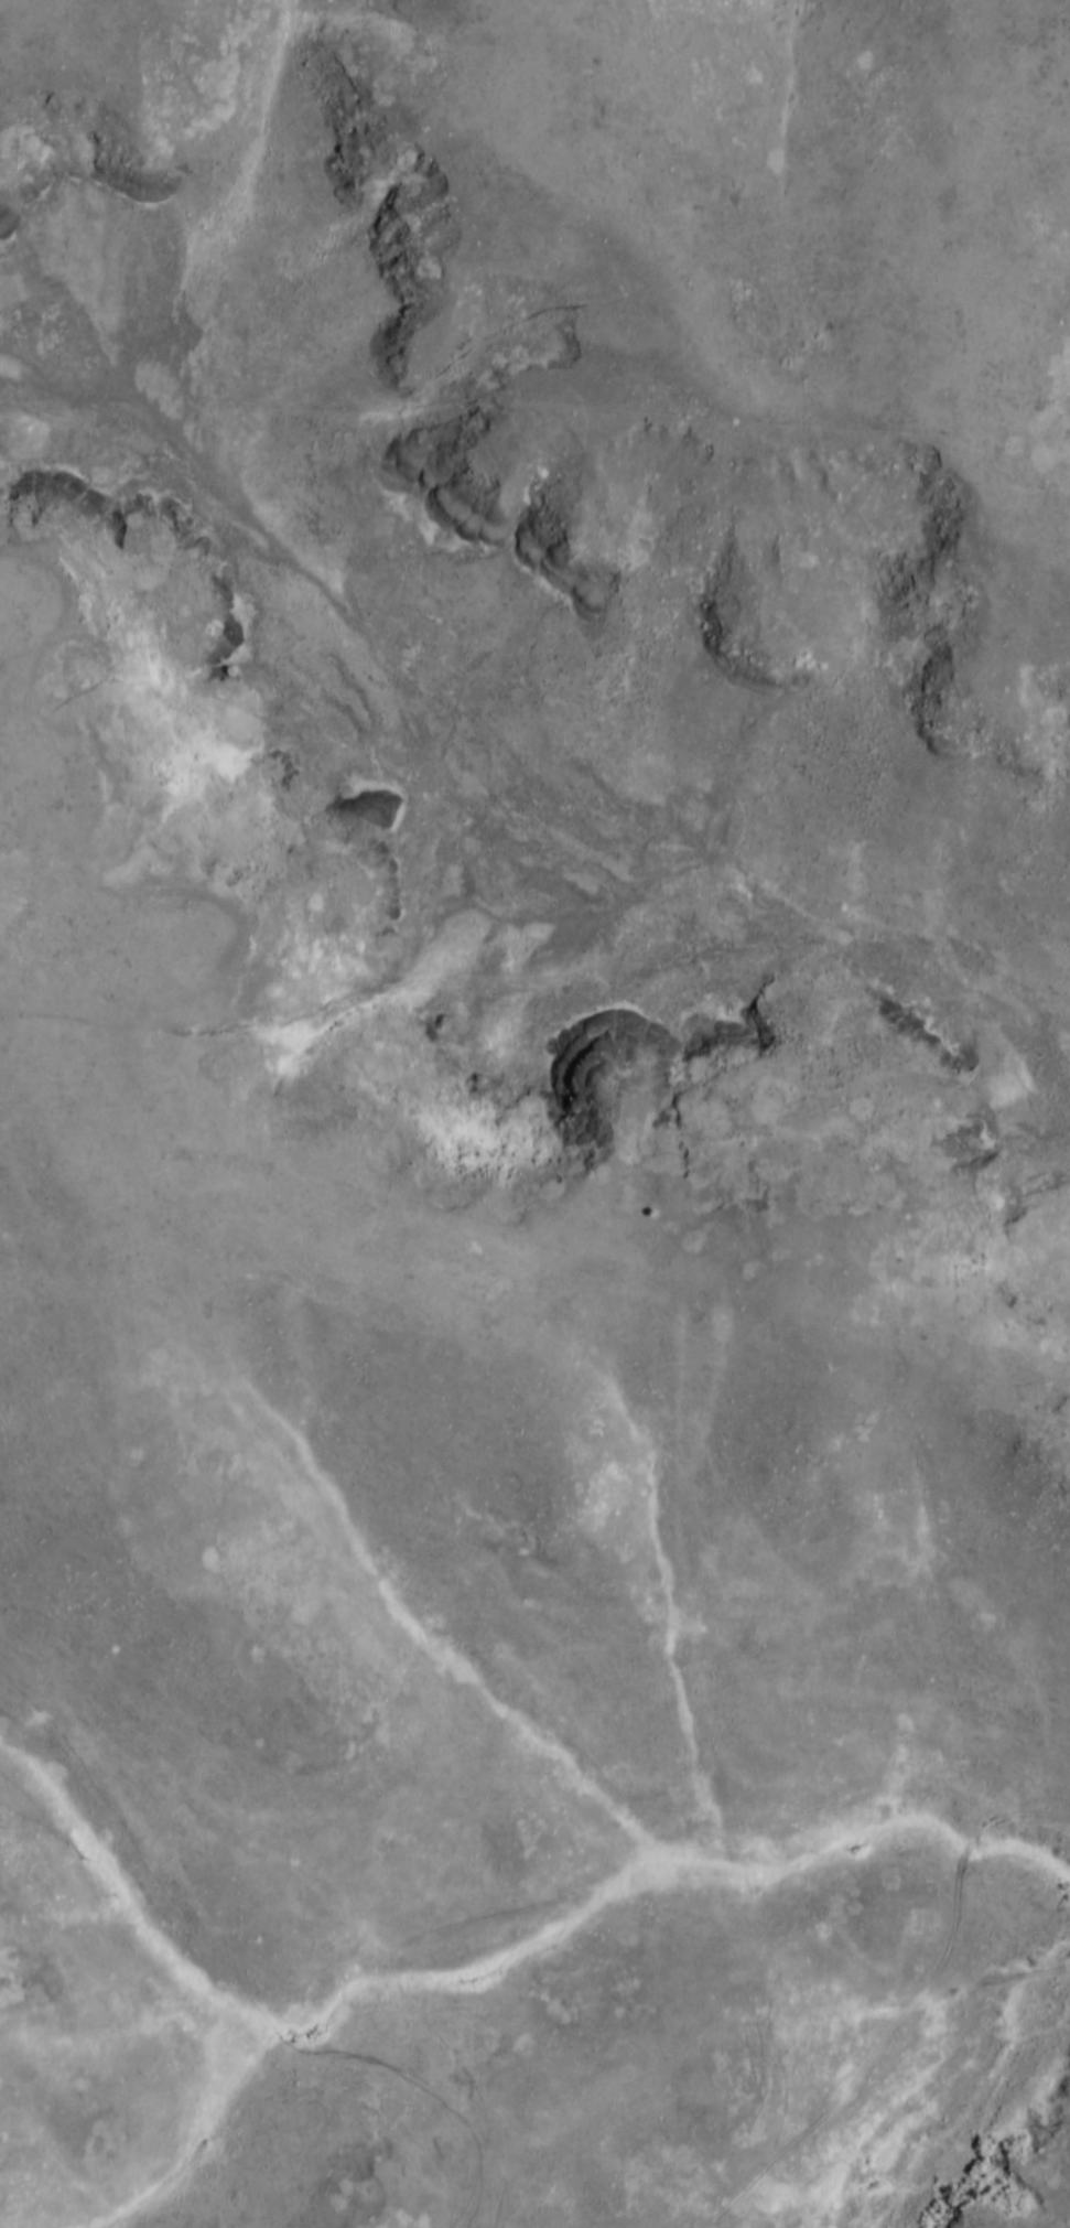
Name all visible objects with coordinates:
road: (869, 2071)

